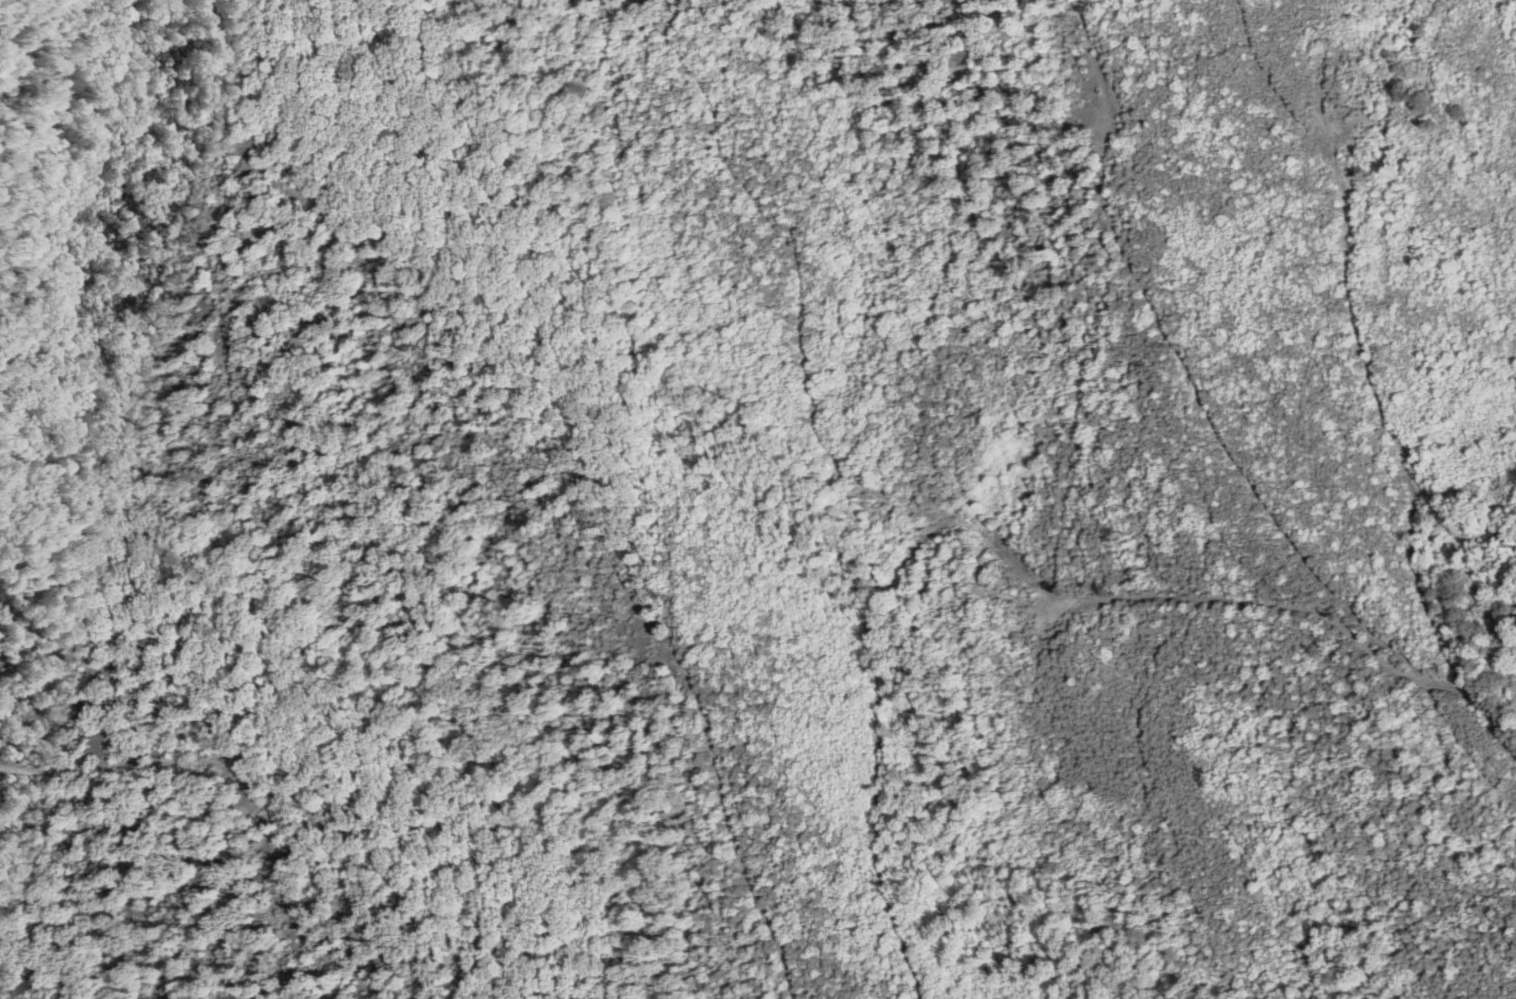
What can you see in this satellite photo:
building: (1492, 529)

